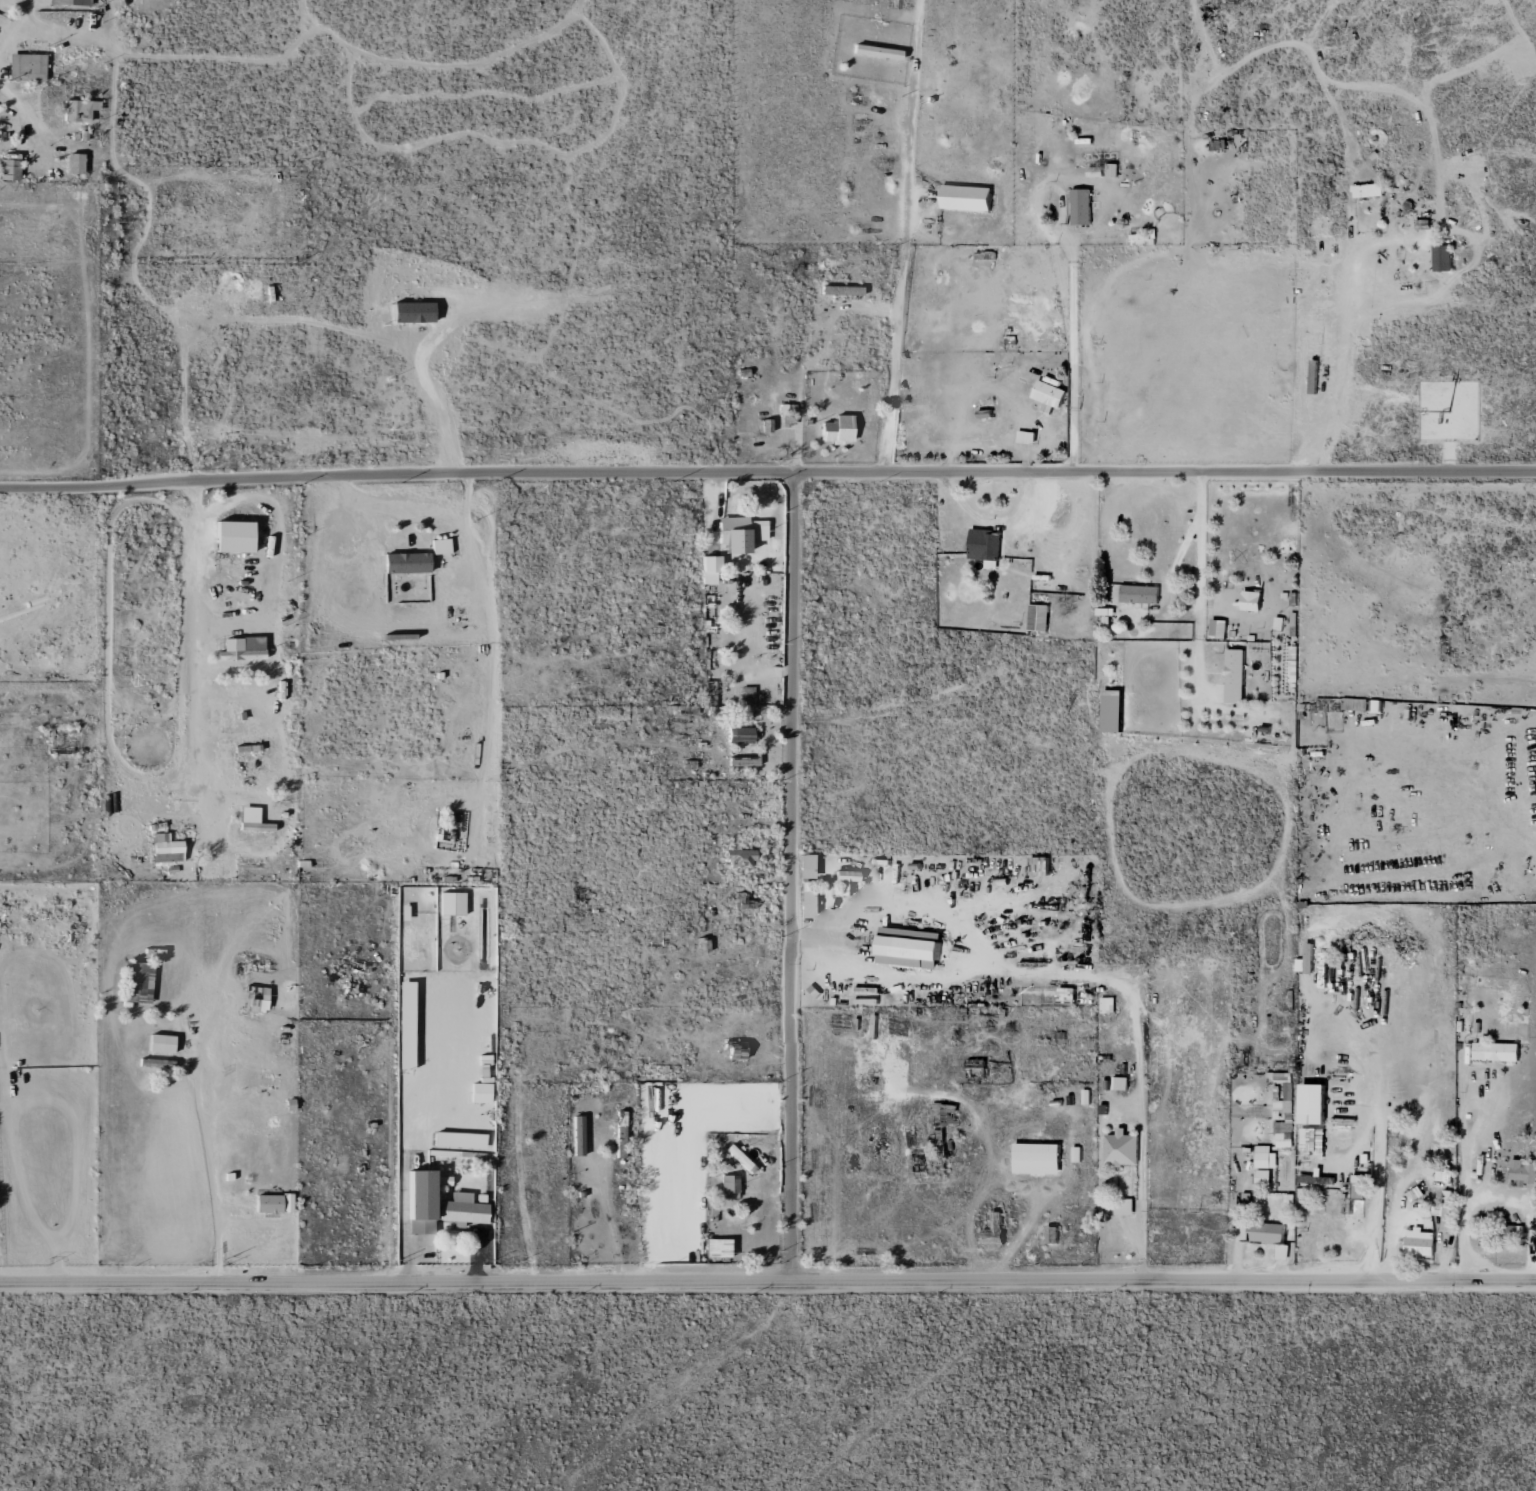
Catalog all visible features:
building: (68, 2)
building: (875, 51)
building: (26, 67)
building: (78, 110)
building: (73, 163)
building: (9, 169)
building: (1113, 170)
building: (1095, 171)
building: (1368, 190)
building: (966, 197)
building: (1080, 206)
building: (1442, 257)
building: (840, 290)
building: (411, 312)
building: (1049, 396)
building: (836, 430)
building: (1026, 437)
road: (767, 474)
building: (232, 536)
building: (743, 536)
building: (439, 546)
building: (985, 546)
building: (404, 562)
building: (709, 569)
building: (1140, 593)
building: (1251, 600)
building: (1038, 617)
building: (1218, 628)
building: (240, 648)
building: (1235, 675)
building: (745, 695)
building: (1112, 710)
building: (739, 734)
building: (251, 820)
building: (165, 849)
building: (738, 858)
building: (805, 866)
road: (792, 877)
building: (844, 880)
building: (805, 904)
building: (909, 949)
building: (136, 982)
building: (1066, 994)
building: (256, 1002)
building: (1107, 1004)
building: (404, 1025)
building: (159, 1043)
building: (1495, 1051)
road: (1520, 1052)
building: (1120, 1082)
building: (479, 1093)
building: (1312, 1103)
building: (1284, 1111)
building: (457, 1140)
building: (1312, 1141)
building: (1121, 1148)
building: (1037, 1152)
building: (1076, 1154)
building: (1265, 1157)
building: (739, 1158)
building: (1523, 1172)
building: (728, 1184)
building: (1355, 1195)
building: (418, 1202)
building: (266, 1203)
building: (286, 1203)
building: (1124, 1206)
building: (461, 1209)
building: (1444, 1210)
building: (1269, 1236)
building: (1420, 1242)
building: (716, 1248)
road: (768, 1281)

